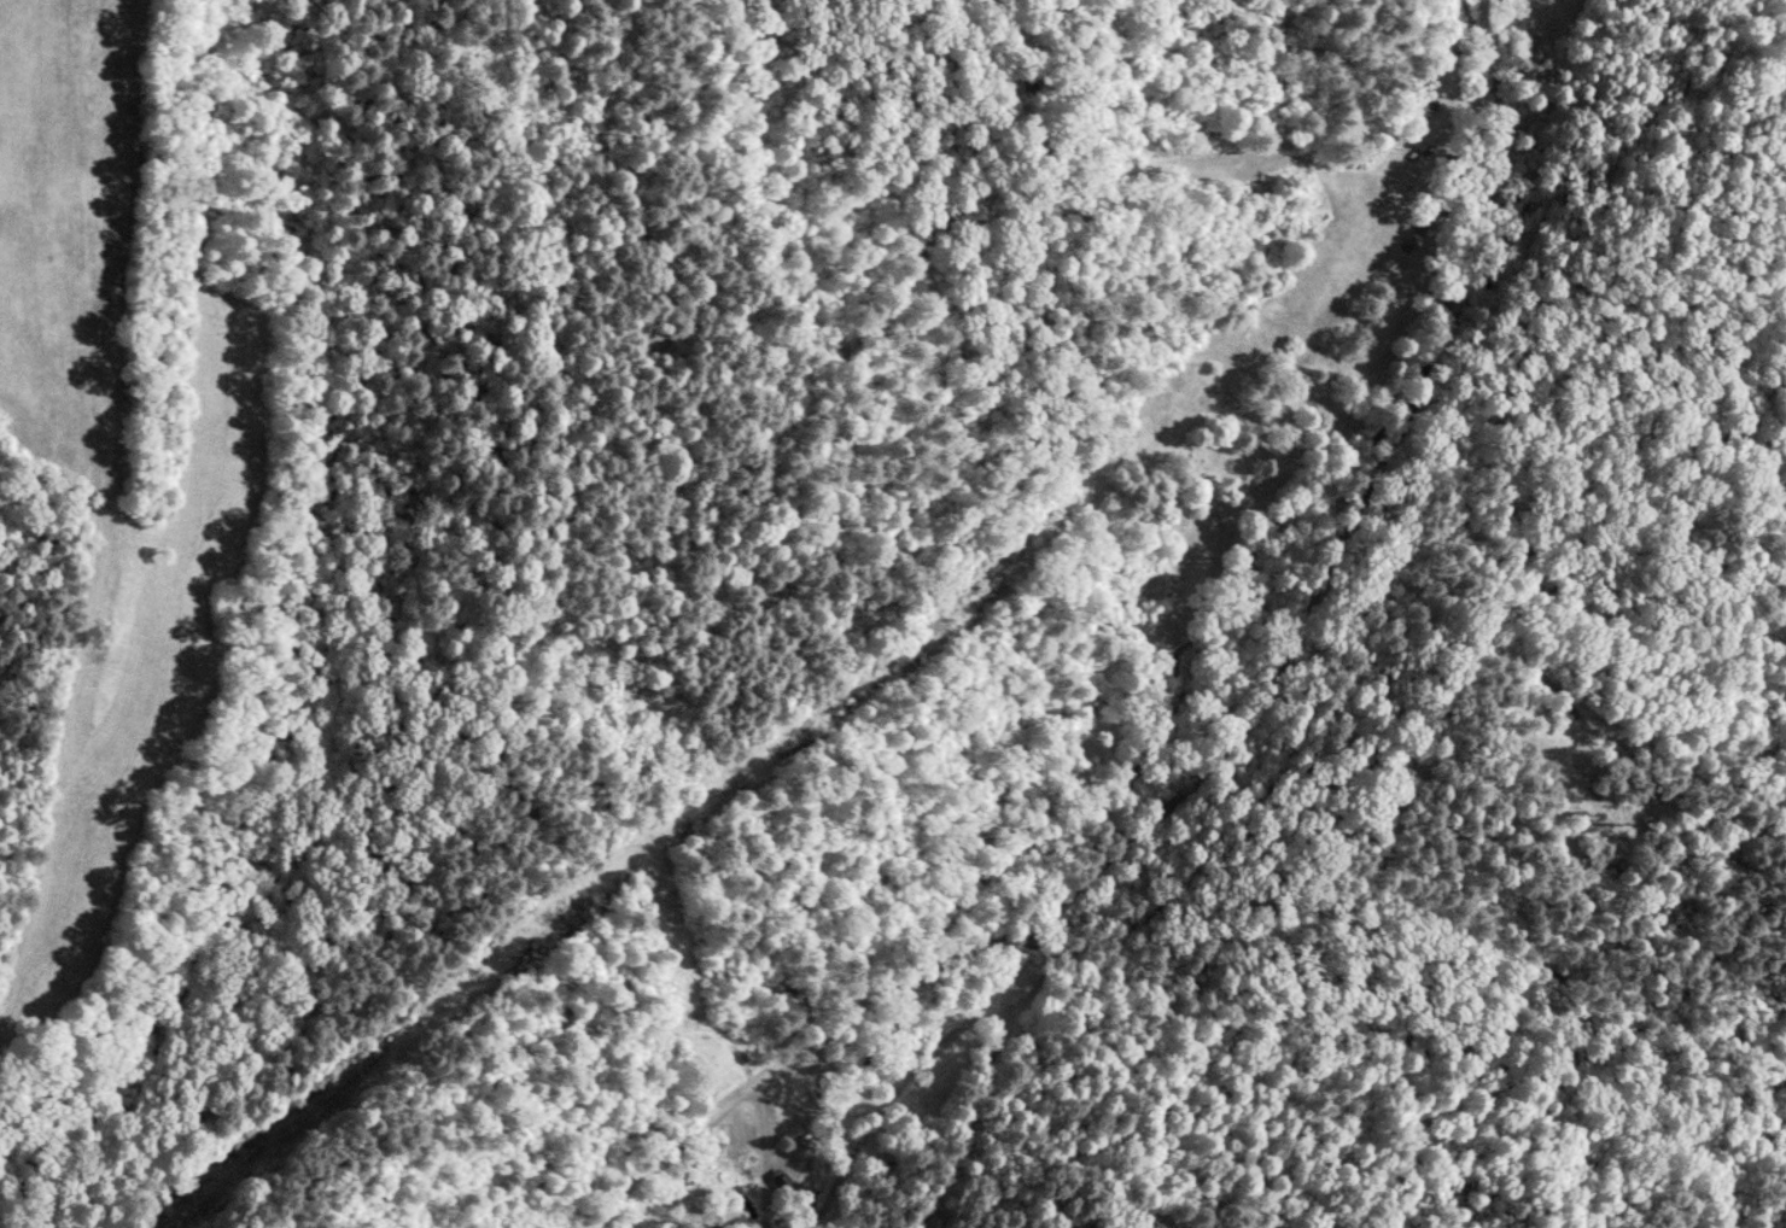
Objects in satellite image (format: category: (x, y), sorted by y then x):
road: (1192, 731)
building: (782, 1185)

